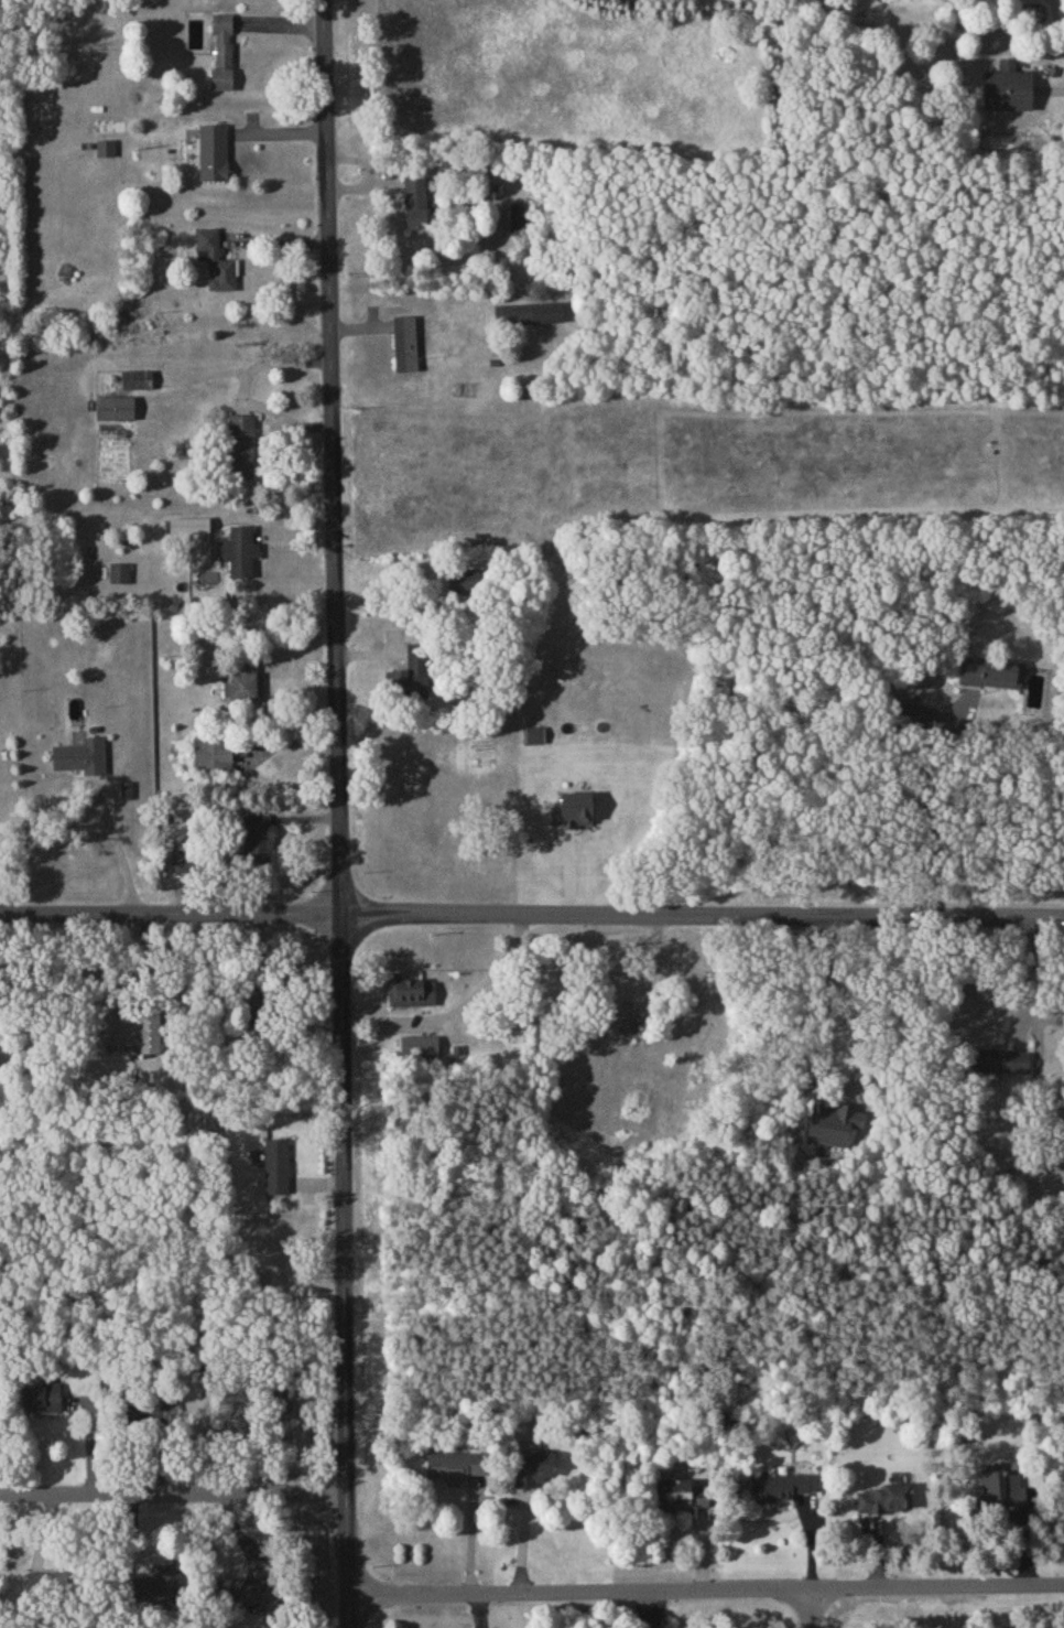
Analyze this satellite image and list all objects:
road: (749, 14)
road: (1056, 25)
building: (221, 51)
building: (1006, 87)
road: (1060, 90)
building: (104, 147)
building: (211, 151)
building: (414, 203)
building: (518, 215)
building: (215, 259)
building: (528, 312)
building: (404, 343)
building: (135, 378)
building: (113, 407)
building: (241, 445)
building: (187, 524)
building: (239, 550)
building: (118, 572)
building: (463, 581)
building: (989, 671)
building: (245, 678)
building: (408, 683)
building: (905, 711)
building: (210, 753)
building: (79, 755)
building: (573, 808)
road: (339, 813)
road: (930, 819)
building: (257, 838)
road: (118, 847)
building: (181, 860)
road: (532, 917)
road: (1023, 975)
building: (410, 990)
road: (847, 1004)
building: (127, 1031)
building: (419, 1045)
building: (999, 1060)
building: (833, 1122)
building: (274, 1166)
building: (41, 1397)
building: (454, 1465)
building: (533, 1466)
building: (781, 1485)
building: (999, 1487)
building: (675, 1492)
road: (173, 1496)
building: (884, 1498)
road: (918, 1586)
building: (156, 1587)
building: (238, 1588)
road: (580, 1592)

